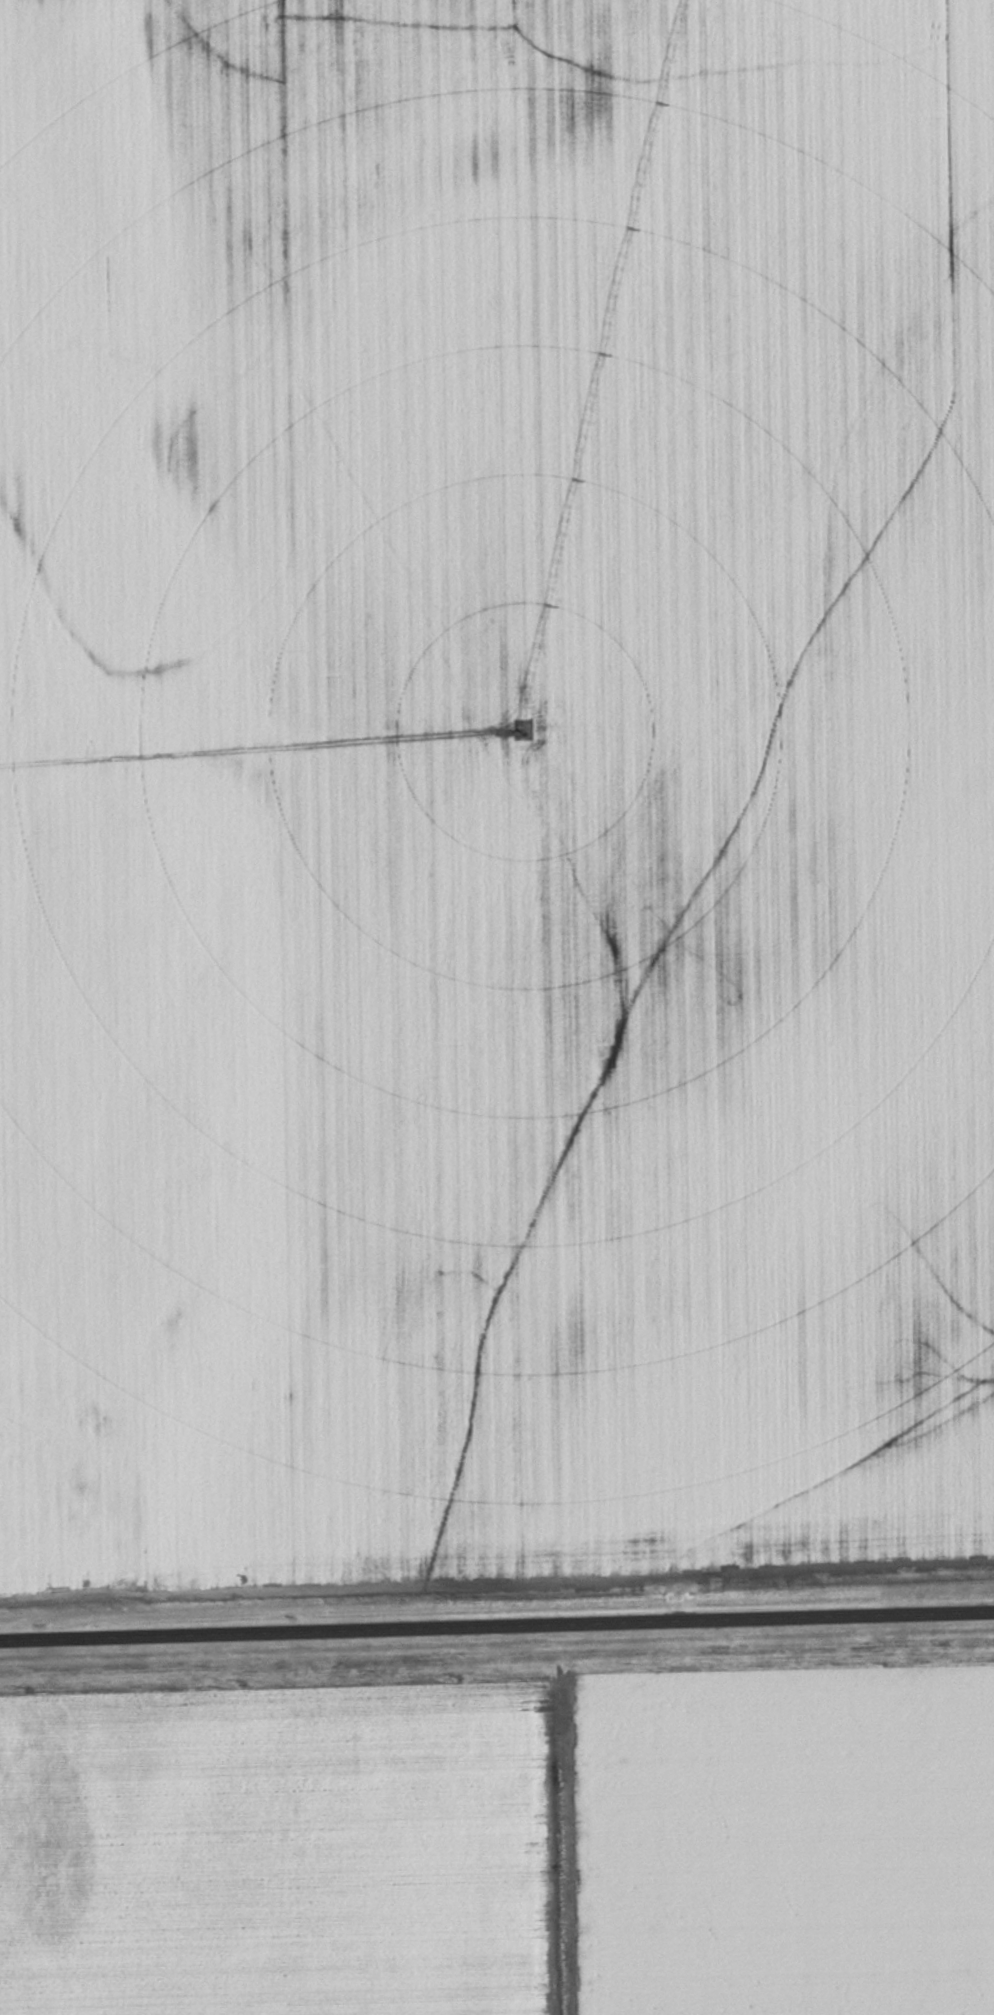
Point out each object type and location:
road: (496, 1622)

